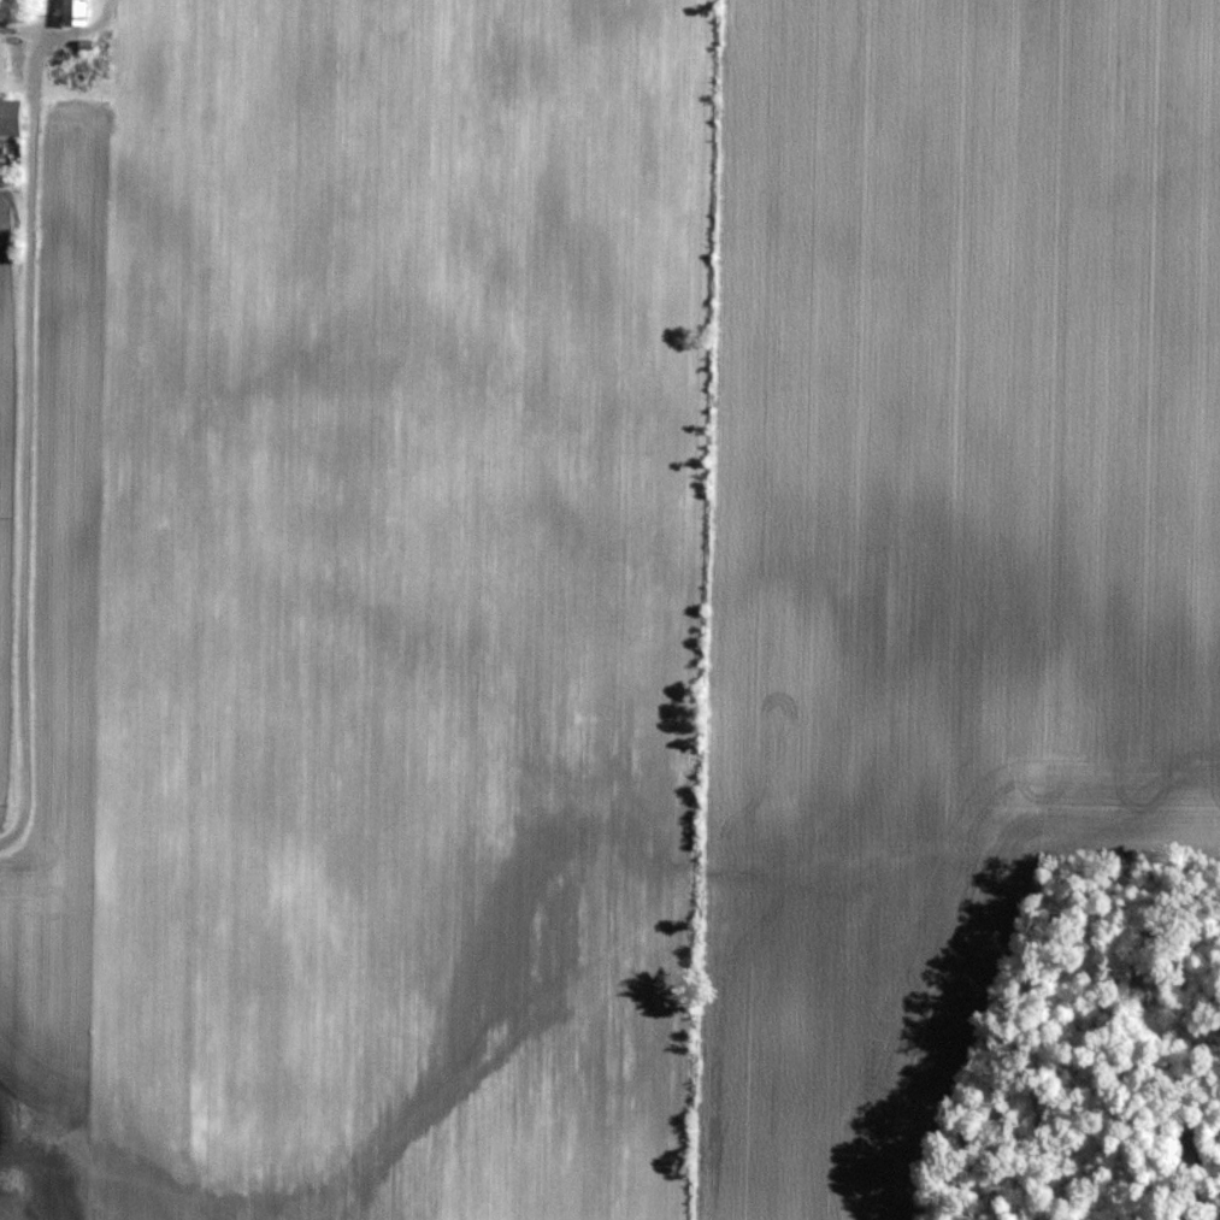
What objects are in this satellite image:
road: (22, 423)

